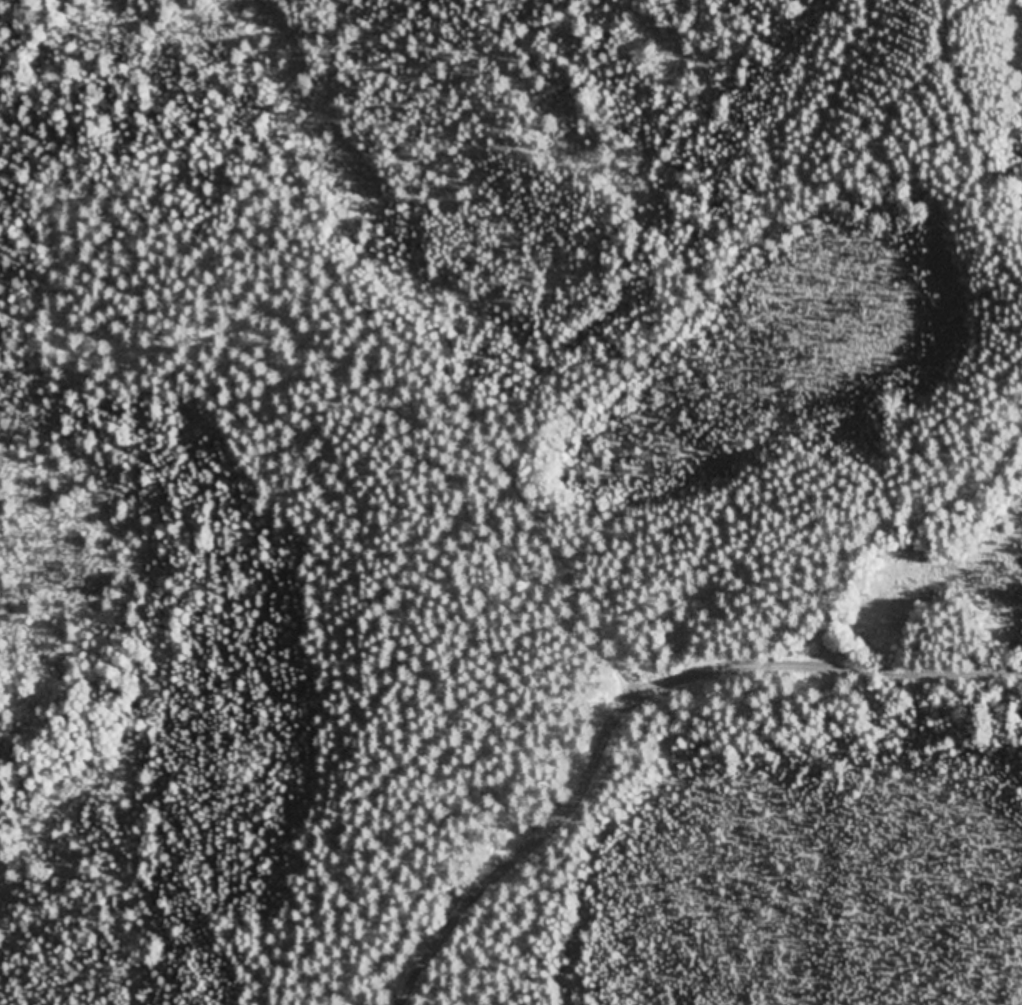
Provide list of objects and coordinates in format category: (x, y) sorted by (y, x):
road: (552, 403)
road: (896, 529)
road: (810, 657)
road: (591, 756)

